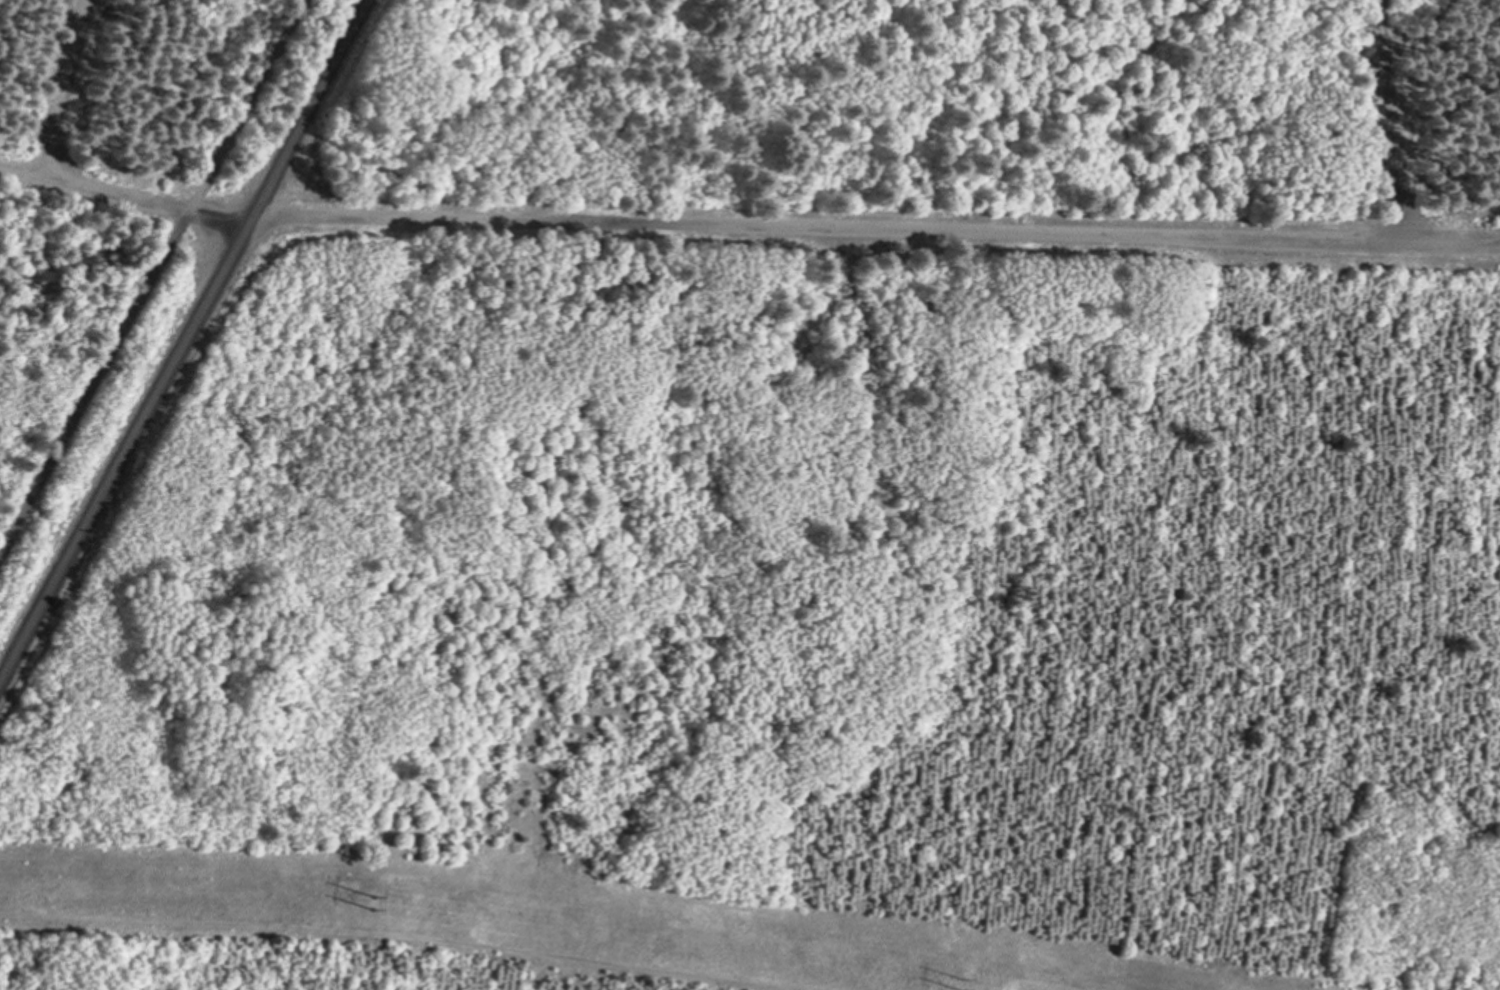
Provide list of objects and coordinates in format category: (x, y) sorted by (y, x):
road: (64, 86)
road: (746, 233)
road: (149, 274)
road: (182, 340)
power tower: (381, 903)
power tower: (972, 987)

